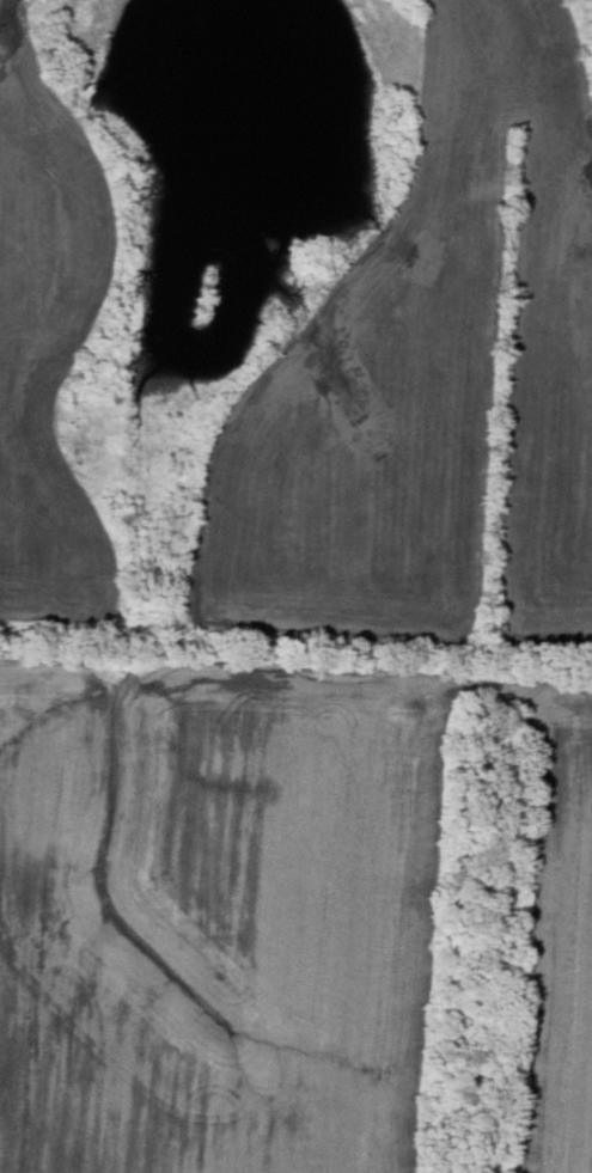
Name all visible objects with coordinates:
crop: (219, 918)
crop: (547, 935)

